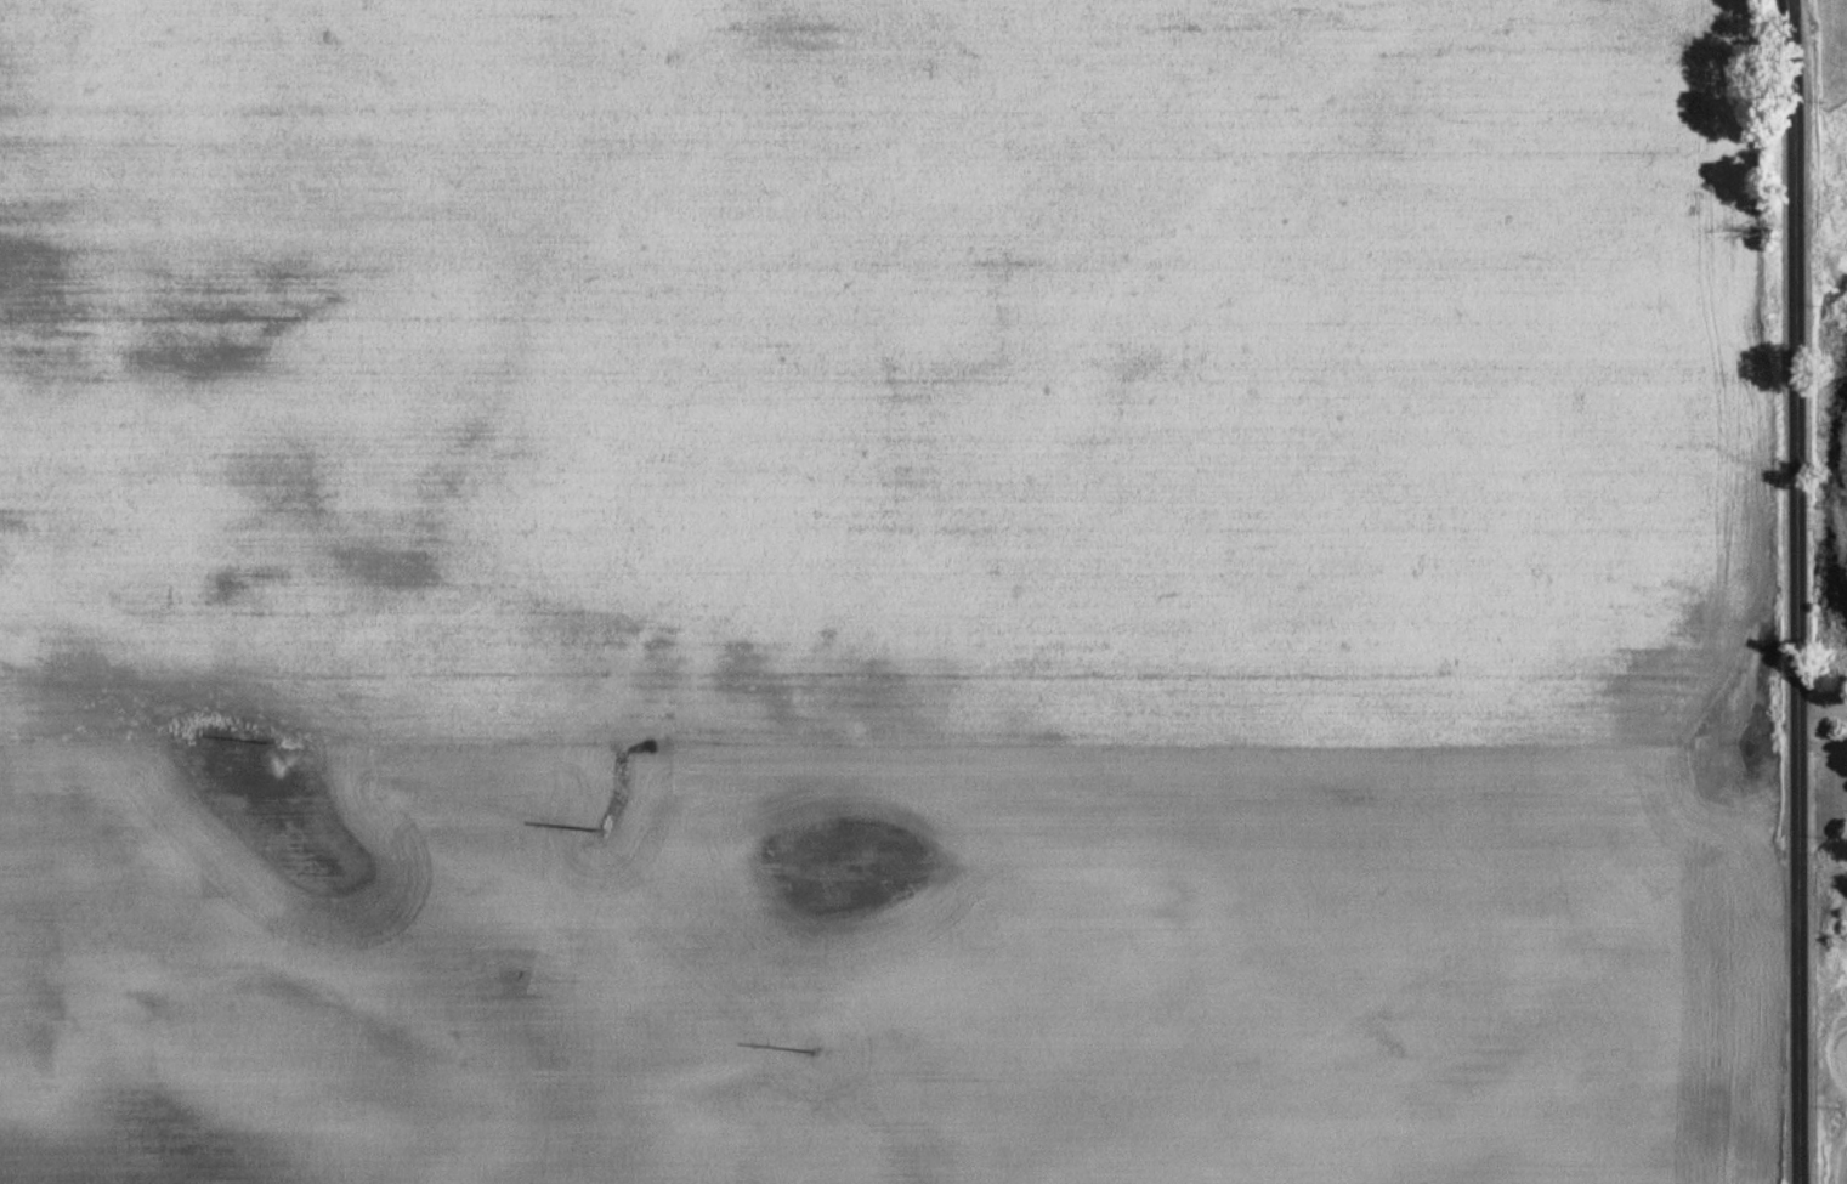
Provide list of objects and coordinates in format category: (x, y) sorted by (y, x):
road: (1794, 591)
road: (1821, 709)
road: (1820, 747)

